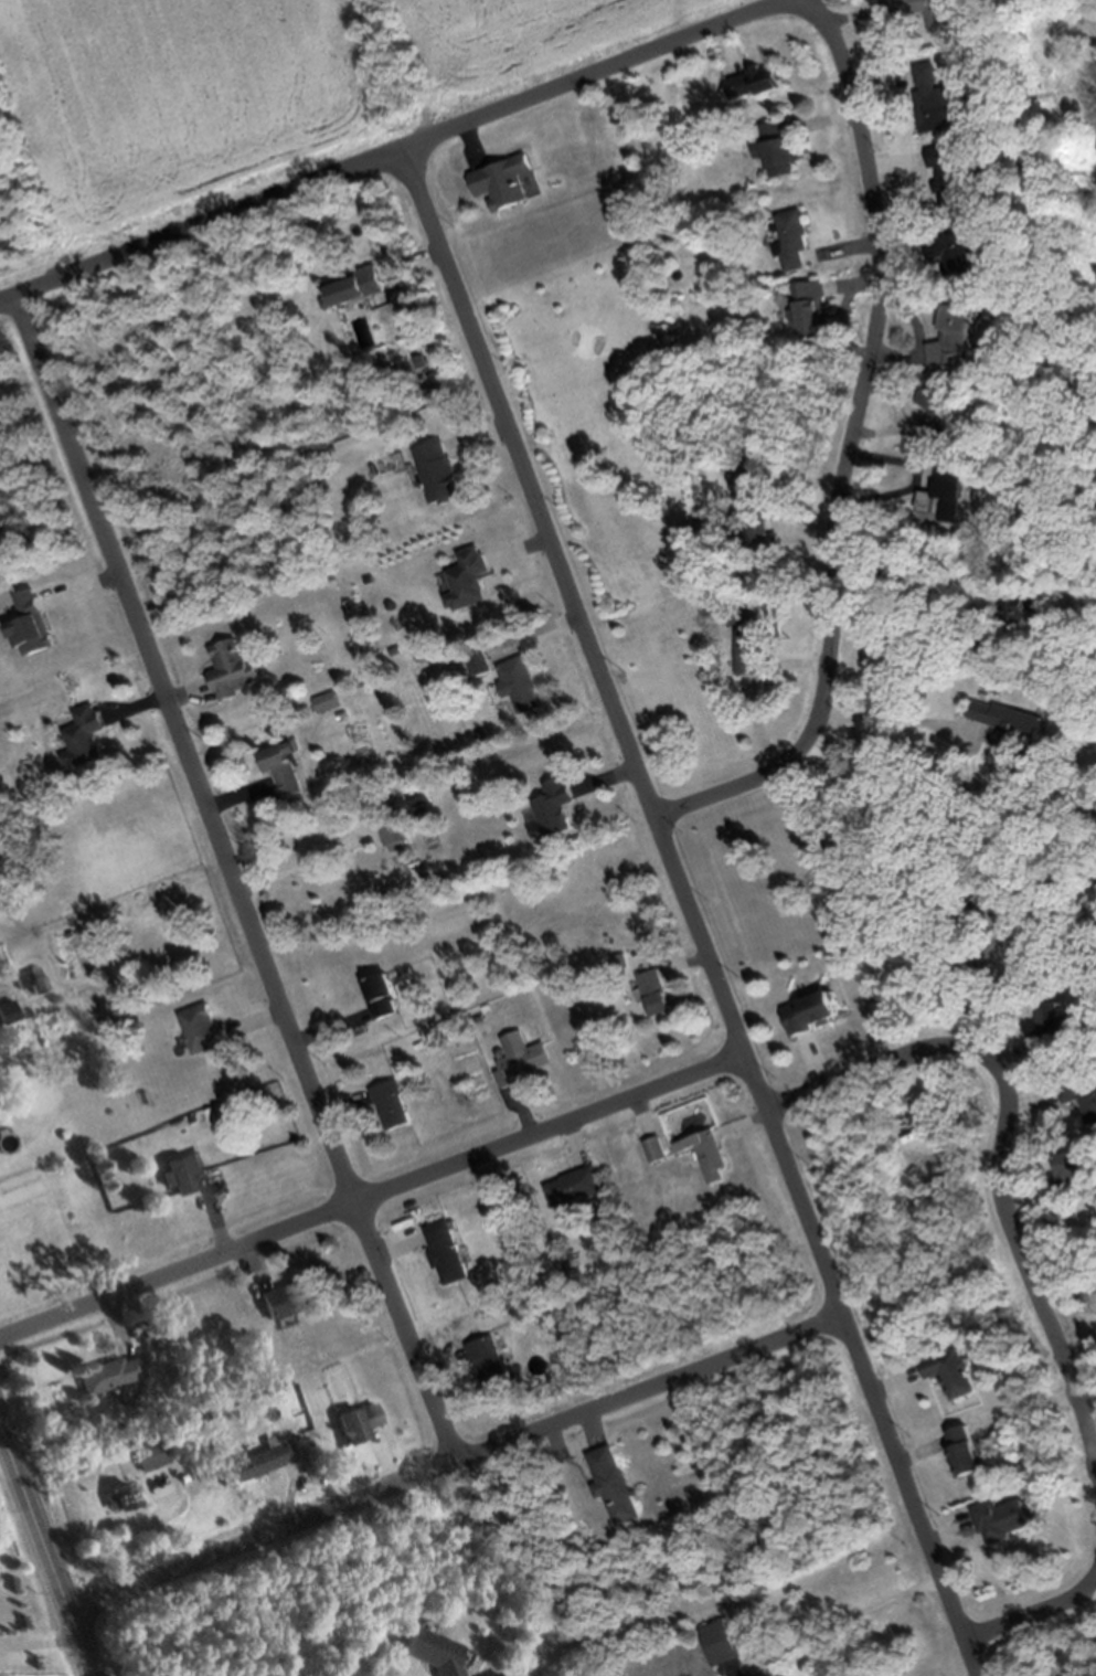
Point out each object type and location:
building: (939, 12)
building: (759, 79)
crop: (248, 95)
building: (940, 99)
road: (391, 145)
building: (777, 146)
building: (954, 173)
building: (504, 180)
building: (795, 238)
building: (956, 254)
building: (353, 284)
building: (816, 307)
building: (666, 332)
building: (960, 333)
building: (944, 414)
road: (853, 448)
building: (439, 471)
building: (753, 474)
building: (950, 494)
building: (470, 577)
building: (35, 623)
building: (751, 638)
building: (234, 667)
building: (519, 681)
building: (328, 700)
building: (1012, 725)
building: (87, 735)
building: (285, 767)
building: (421, 795)
building: (555, 808)
building: (393, 829)
road: (234, 880)
road: (688, 909)
building: (32, 979)
building: (658, 989)
building: (385, 993)
building: (820, 1009)
building: (7, 1010)
building: (1057, 1021)
building: (208, 1027)
building: (526, 1056)
building: (1081, 1089)
building: (395, 1103)
building: (656, 1148)
building: (710, 1152)
road: (1002, 1156)
building: (185, 1168)
building: (575, 1185)
road: (372, 1201)
building: (451, 1250)
building: (289, 1295)
building: (493, 1365)
building: (959, 1370)
building: (109, 1372)
building: (359, 1420)
building: (975, 1447)
building: (150, 1452)
building: (260, 1457)
road: (456, 1467)
building: (616, 1482)
building: (120, 1497)
building: (1007, 1517)
road: (44, 1558)
road: (1035, 1620)
building: (728, 1648)
building: (437, 1650)
building: (491, 1674)

